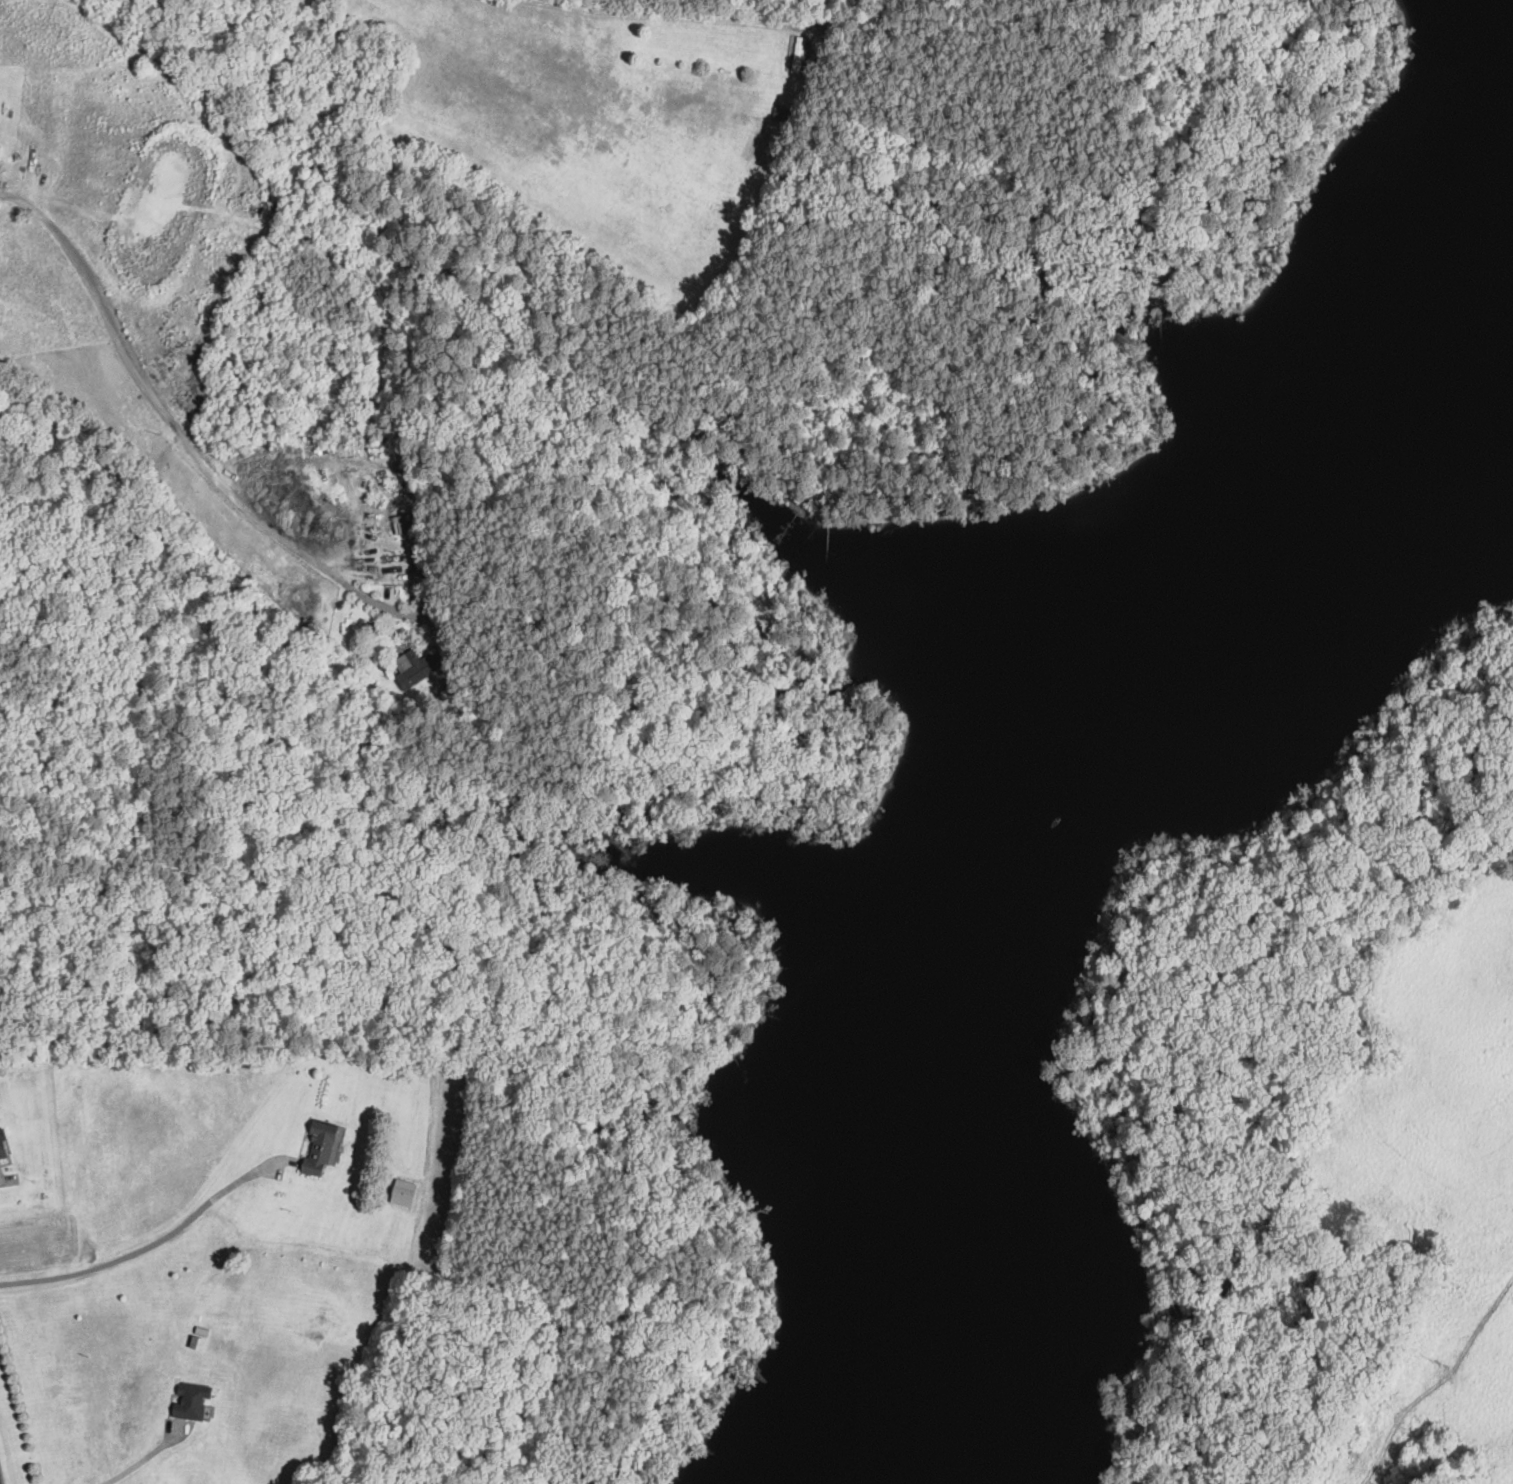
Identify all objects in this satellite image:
road: (645, 14)
building: (829, 25)
building: (797, 54)
building: (783, 114)
park: (845, 373)
road: (178, 429)
building: (404, 523)
building: (306, 626)
building: (415, 669)
building: (321, 1147)
building: (1, 1150)
road: (158, 1240)
power tower: (1443, 1363)
building: (190, 1401)
road: (148, 1456)

